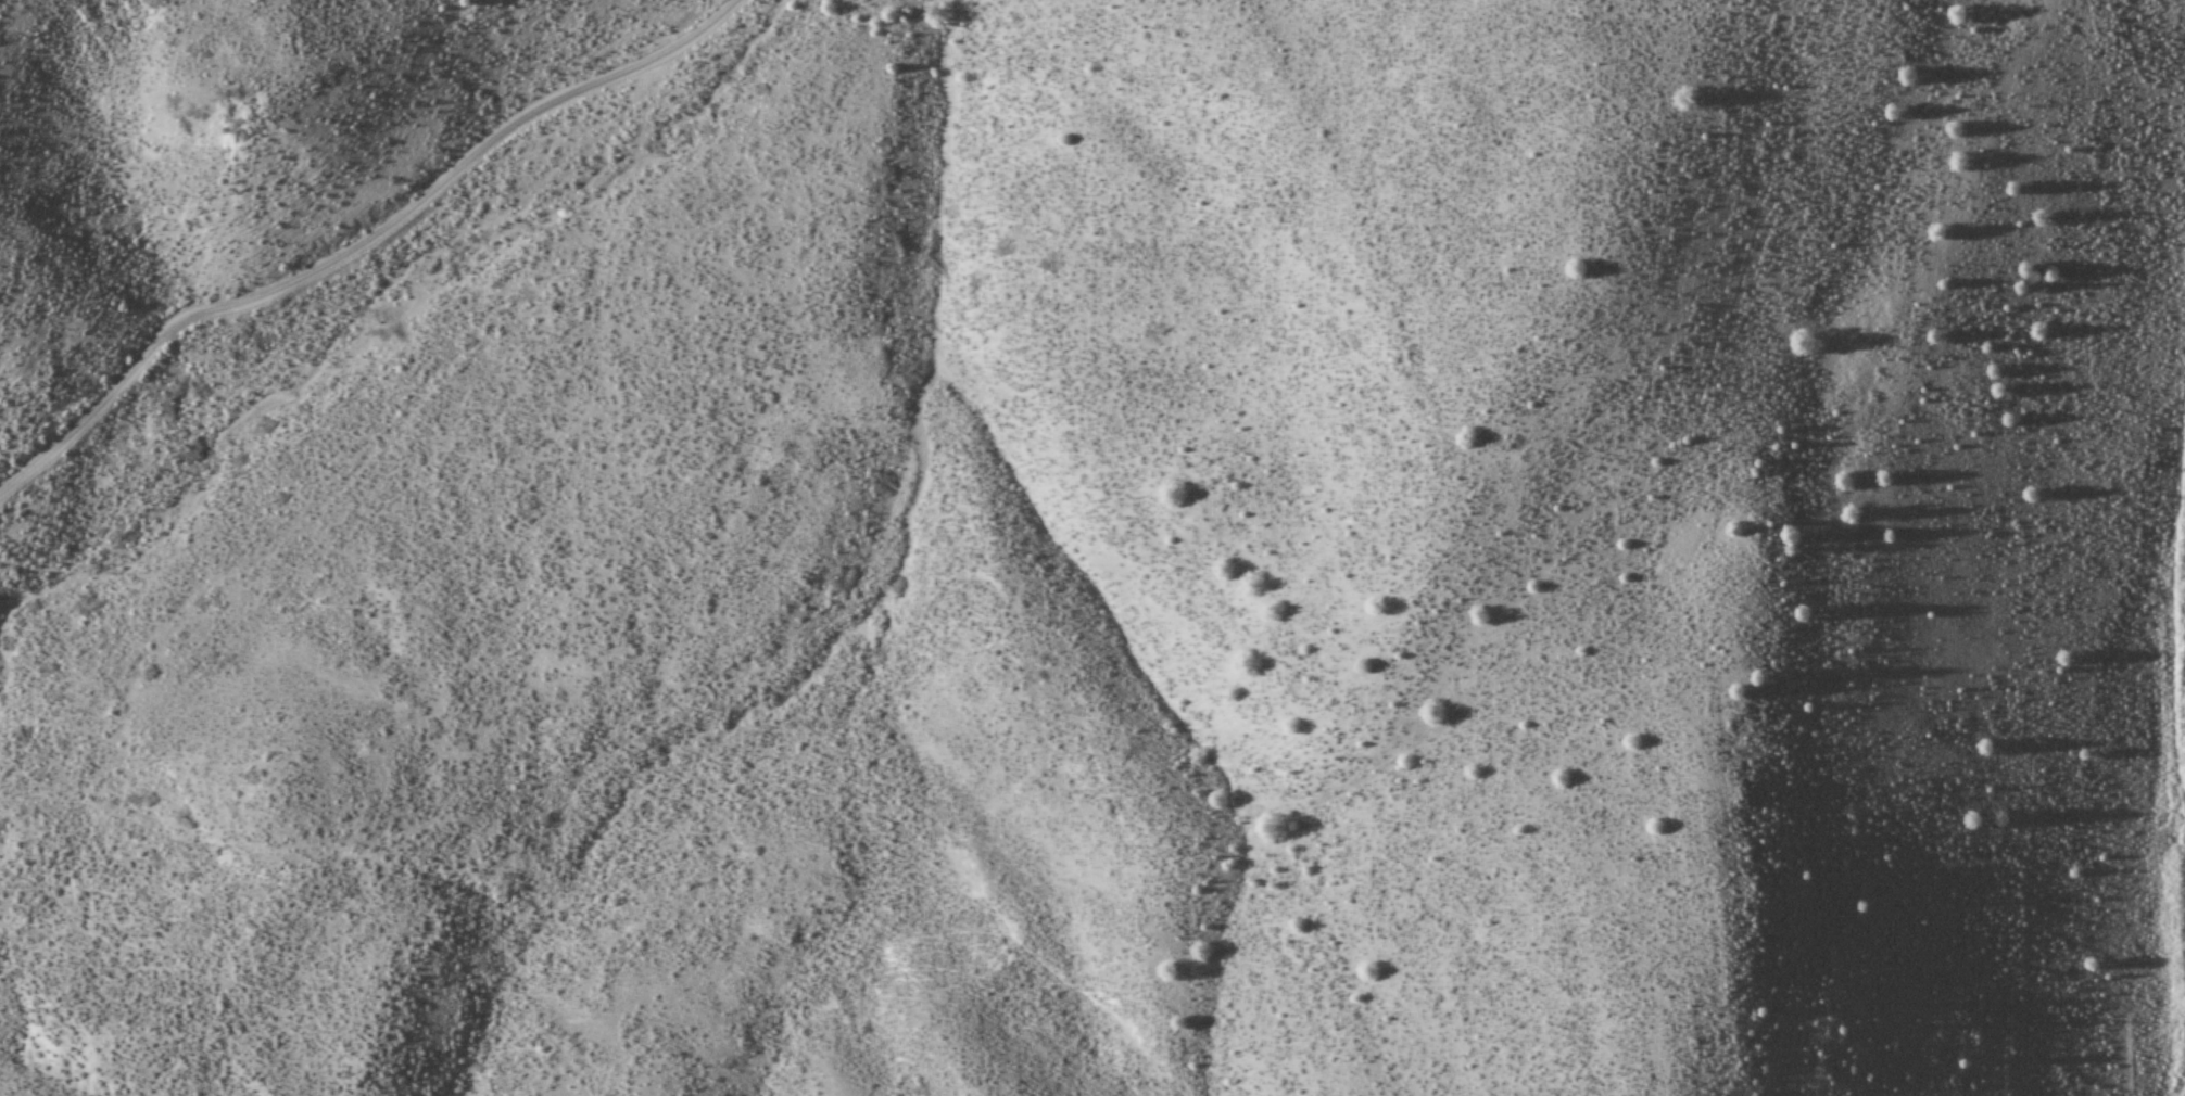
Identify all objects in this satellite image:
road: (315, 219)

